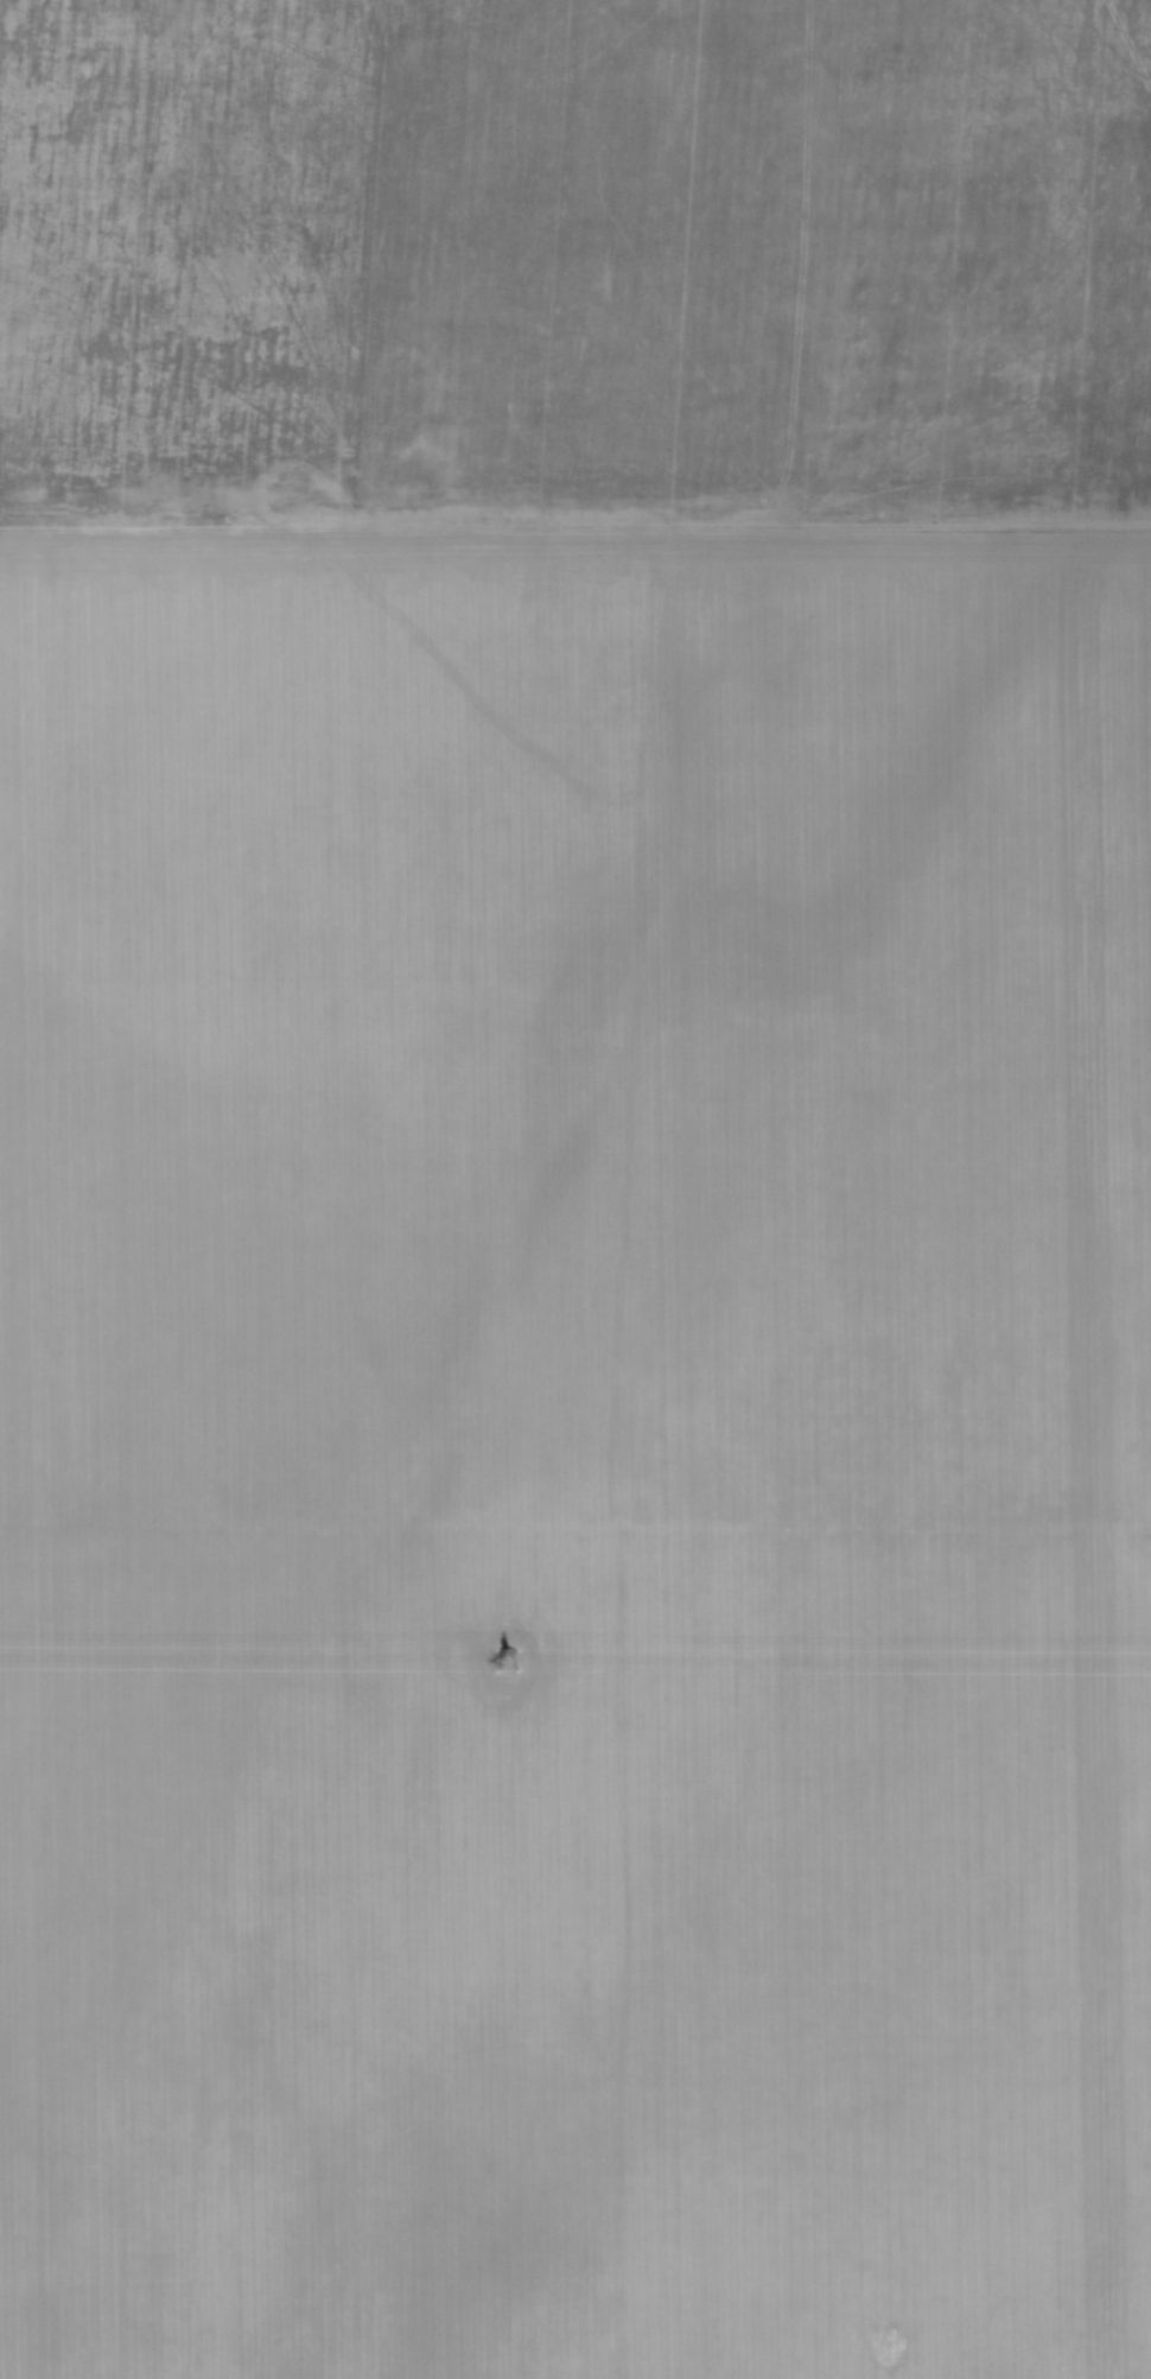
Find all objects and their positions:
power tower: (508, 1662)

